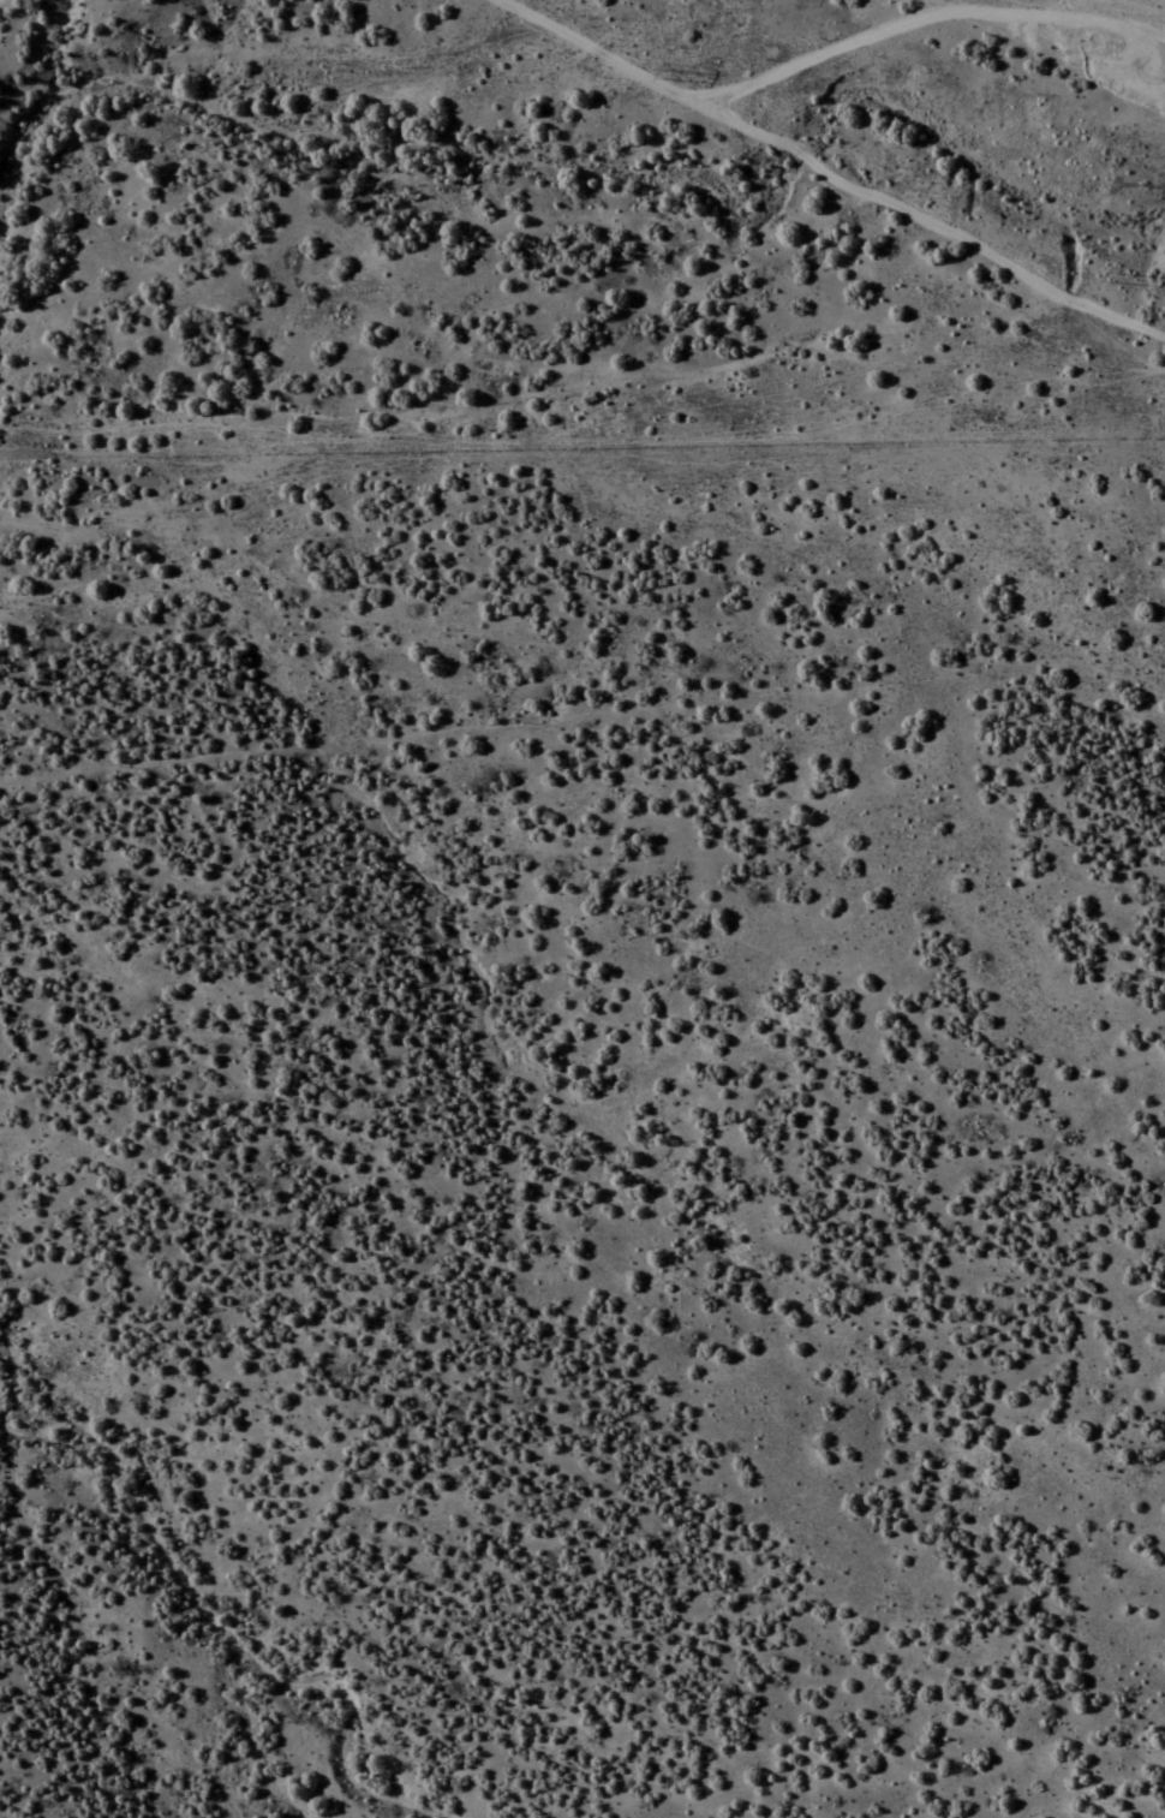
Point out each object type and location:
power tower: (1141, 183)

